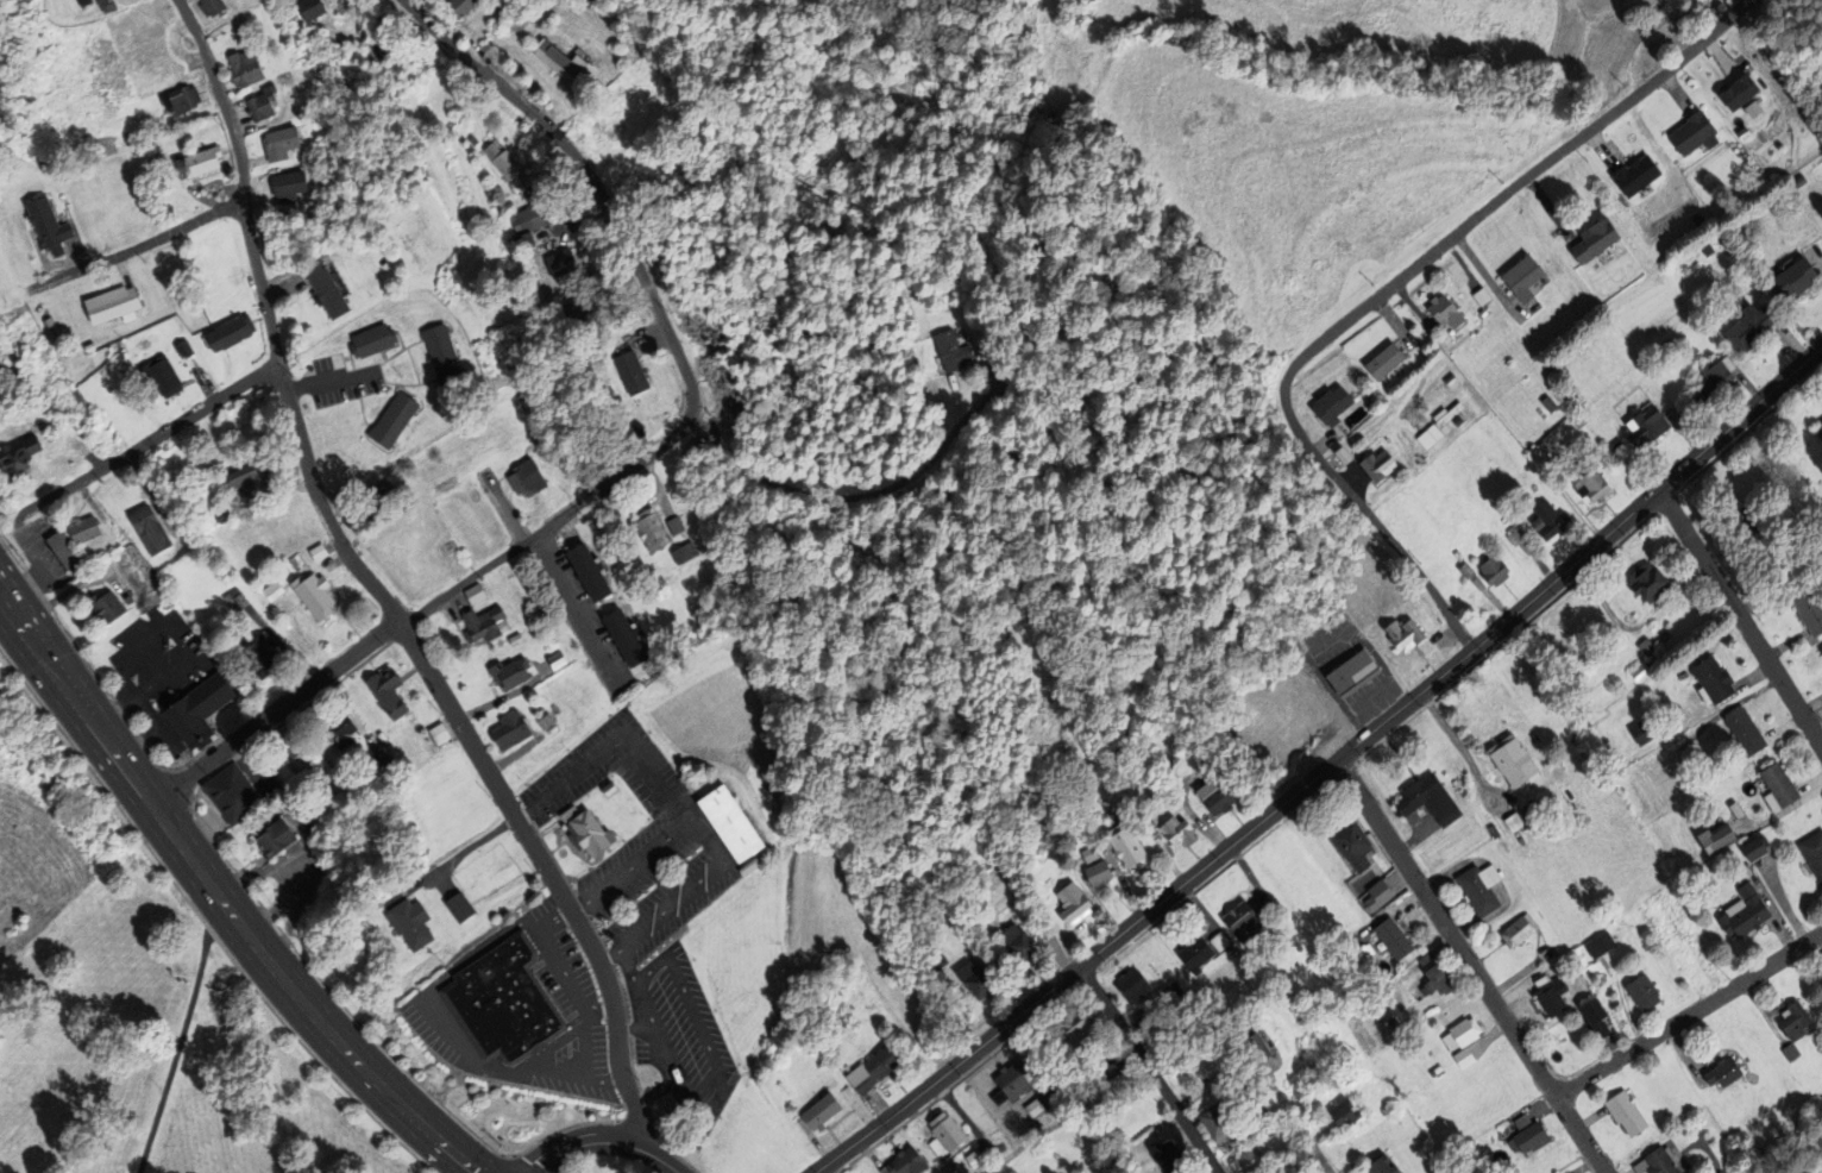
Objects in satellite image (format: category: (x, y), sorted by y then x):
building: (98, 2)
building: (457, 5)
building: (206, 6)
building: (306, 10)
building: (238, 32)
road: (1684, 56)
building: (372, 58)
building: (560, 63)
building: (239, 67)
building: (1736, 90)
building: (180, 100)
building: (258, 105)
building: (597, 126)
building: (1691, 133)
building: (275, 145)
crop: (1305, 145)
building: (197, 162)
building: (502, 165)
building: (1634, 175)
road: (592, 176)
building: (1798, 181)
building: (282, 187)
building: (126, 218)
building: (528, 218)
building: (45, 226)
building: (1592, 239)
building: (520, 240)
road: (145, 244)
building: (344, 244)
building: (1707, 250)
road: (1430, 253)
building: (558, 266)
building: (1520, 276)
building: (1793, 277)
building: (321, 290)
building: (1479, 296)
building: (108, 305)
building: (573, 309)
building: (1443, 312)
building: (1481, 313)
building: (1748, 326)
building: (48, 330)
building: (227, 332)
building: (369, 340)
building: (180, 347)
building: (1666, 349)
building: (954, 351)
building: (441, 358)
building: (1382, 362)
building: (626, 370)
building: (155, 374)
building: (1713, 378)
road: (331, 381)
building: (1384, 382)
building: (1569, 388)
building: (1463, 394)
building: (1554, 394)
building: (1441, 401)
building: (1547, 403)
building: (1330, 406)
building: (389, 419)
building: (1456, 420)
building: (1577, 421)
building: (1435, 425)
building: (1644, 427)
building: (1818, 429)
road: (152, 441)
building: (1615, 445)
building: (1538, 452)
building: (1340, 456)
building: (18, 458)
building: (213, 458)
building: (1375, 465)
building: (245, 476)
building: (523, 476)
building: (1590, 483)
building: (279, 487)
road: (1343, 487)
road: (853, 495)
building: (216, 514)
building: (1547, 521)
road: (17, 522)
building: (671, 523)
building: (81, 528)
building: (146, 528)
building: (646, 528)
building: (1757, 535)
building: (1519, 539)
building: (315, 551)
building: (680, 551)
building: (63, 552)
building: (1457, 556)
building: (585, 571)
building: (1464, 571)
building: (1491, 571)
road: (46, 573)
building: (1646, 583)
building: (1477, 585)
road: (373, 588)
building: (270, 589)
building: (313, 594)
building: (125, 596)
building: (477, 597)
building: (232, 600)
road: (1438, 600)
road: (1531, 601)
building: (103, 604)
road: (577, 607)
building: (1808, 609)
road: (423, 613)
road: (1740, 616)
building: (483, 627)
building: (1401, 634)
building: (621, 636)
road: (33, 638)
building: (516, 644)
building: (1646, 648)
building: (258, 652)
building: (1821, 652)
building: (558, 665)
building: (1349, 672)
building: (1639, 672)
building: (511, 677)
building: (1711, 682)
building: (385, 691)
building: (196, 707)
road: (150, 713)
building: (542, 720)
building: (507, 729)
building: (337, 730)
building: (1640, 733)
building: (1744, 733)
building: (436, 734)
building: (1186, 736)
road: (611, 748)
building: (293, 758)
building: (377, 759)
building: (1510, 761)
building: (1708, 782)
building: (607, 788)
building: (1777, 789)
building: (230, 795)
building: (1220, 798)
building: (1428, 799)
building: (1512, 823)
building: (1181, 828)
building: (734, 829)
building: (583, 830)
building: (272, 838)
building: (1713, 841)
building: (1357, 842)
building: (1130, 843)
road: (711, 847)
building: (1753, 849)
building: (1093, 853)
building: (1812, 853)
road: (457, 857)
crop: (36, 867)
building: (1099, 871)
building: (1483, 886)
building: (1380, 892)
building: (1075, 903)
building: (460, 909)
road: (231, 912)
building: (1742, 912)
building: (1240, 921)
road: (554, 923)
building: (411, 926)
building: (1521, 928)
building: (1396, 936)
building: (1020, 940)
building: (1217, 942)
building: (1603, 943)
building: (1229, 953)
building: (1192, 955)
building: (1428, 956)
building: (941, 962)
road: (1471, 966)
building: (978, 978)
building: (1440, 979)
building: (1131, 986)
building: (1647, 990)
building: (1170, 991)
building: (1554, 995)
building: (1232, 997)
building: (1312, 997)
road: (421, 998)
building: (507, 1004)
building: (1201, 1005)
road: (1028, 1010)
road: (601, 1011)
building: (1396, 1011)
road: (1689, 1014)
building: (1598, 1016)
building: (1792, 1020)
building: (1393, 1021)
building: (1075, 1028)
road: (636, 1029)
building: (1464, 1031)
road: (183, 1036)
road: (559, 1045)
road: (588, 1047)
building: (1214, 1047)
building: (1251, 1048)
building: (1789, 1052)
building: (1466, 1055)
building: (875, 1069)
building: (1439, 1069)
road: (1148, 1071)
building: (1728, 1071)
building: (1014, 1081)
building: (1213, 1081)
road: (658, 1092)
building: (850, 1093)
building: (1036, 1106)
road: (714, 1109)
flagpole: (516, 1111)
building: (822, 1111)
building: (1257, 1111)
building: (1629, 1111)
building: (1338, 1115)
building: (1249, 1124)
building: (1215, 1125)
building: (1695, 1125)
building: (943, 1131)
building: (1268, 1131)
building: (1531, 1135)
road: (583, 1144)
road: (447, 1148)
road: (1313, 1150)
building: (1468, 1152)
building: (1163, 1155)
road: (658, 1159)
building: (972, 1159)
building: (1244, 1161)
building: (1664, 1161)
building: (909, 1162)
building: (1377, 1166)
building: (949, 1171)
road: (818, 1172)
building: (1476, 1172)

